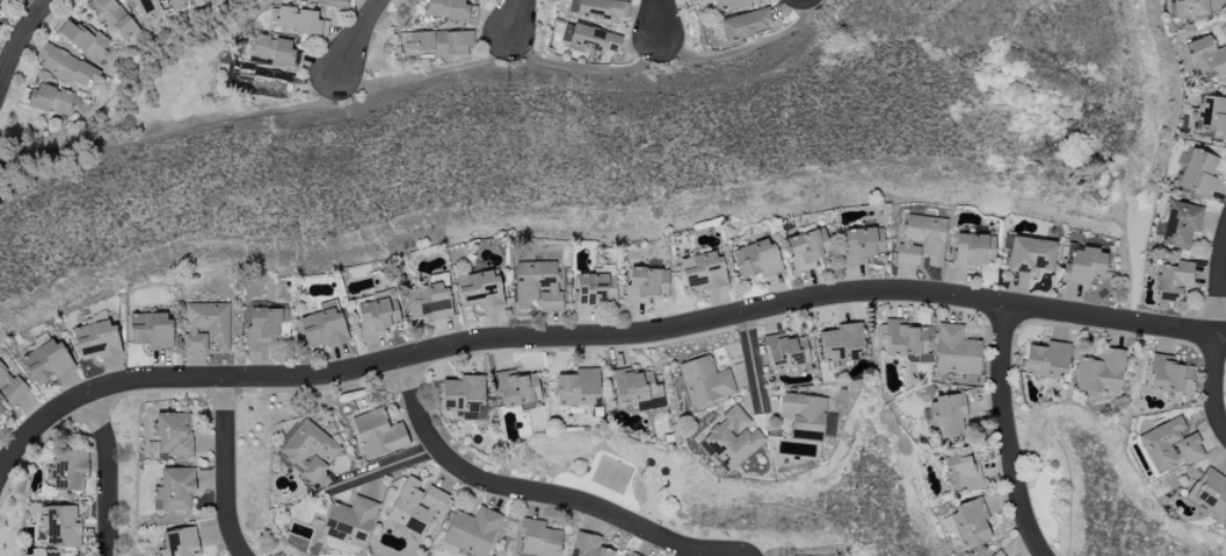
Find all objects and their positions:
road: (31, 4)
building: (330, 4)
building: (732, 4)
building: (175, 5)
building: (143, 7)
building: (1189, 7)
building: (445, 10)
building: (603, 10)
building: (112, 18)
road: (516, 18)
road: (658, 19)
building: (299, 20)
building: (746, 24)
building: (0, 25)
road: (357, 36)
building: (83, 38)
building: (594, 41)
road: (19, 42)
building: (439, 43)
building: (271, 50)
building: (1206, 59)
building: (66, 67)
road: (425, 74)
building: (263, 82)
building: (53, 101)
building: (1210, 118)
building: (1197, 175)
building: (1180, 225)
building: (921, 240)
building: (861, 245)
building: (806, 249)
building: (971, 251)
building: (1030, 255)
building: (755, 259)
building: (1083, 267)
building: (702, 271)
building: (1172, 281)
building: (646, 285)
building: (537, 286)
building: (482, 291)
building: (594, 291)
building: (427, 301)
building: (376, 317)
building: (267, 324)
building: (207, 327)
building: (323, 329)
building: (151, 331)
road: (1219, 333)
road: (596, 335)
building: (95, 340)
building: (904, 340)
building: (841, 343)
building: (956, 351)
building: (785, 352)
road: (753, 360)
building: (46, 361)
building: (1047, 361)
building: (1100, 373)
building: (1168, 376)
building: (704, 382)
building: (578, 387)
building: (634, 387)
building: (8, 389)
building: (516, 390)
building: (461, 394)
building: (944, 413)
building: (802, 415)
road: (1006, 432)
building: (172, 435)
building: (377, 435)
building: (731, 440)
building: (1170, 446)
building: (306, 450)
road: (226, 468)
building: (959, 470)
building: (67, 471)
road: (106, 472)
park: (611, 474)
park: (604, 480)
road: (521, 489)
building: (174, 490)
building: (1209, 492)
park: (1043, 501)
building: (415, 507)
building: (349, 521)
building: (969, 522)
building: (61, 527)
building: (471, 532)
building: (537, 539)
building: (179, 543)
building: (588, 545)
building: (998, 554)

